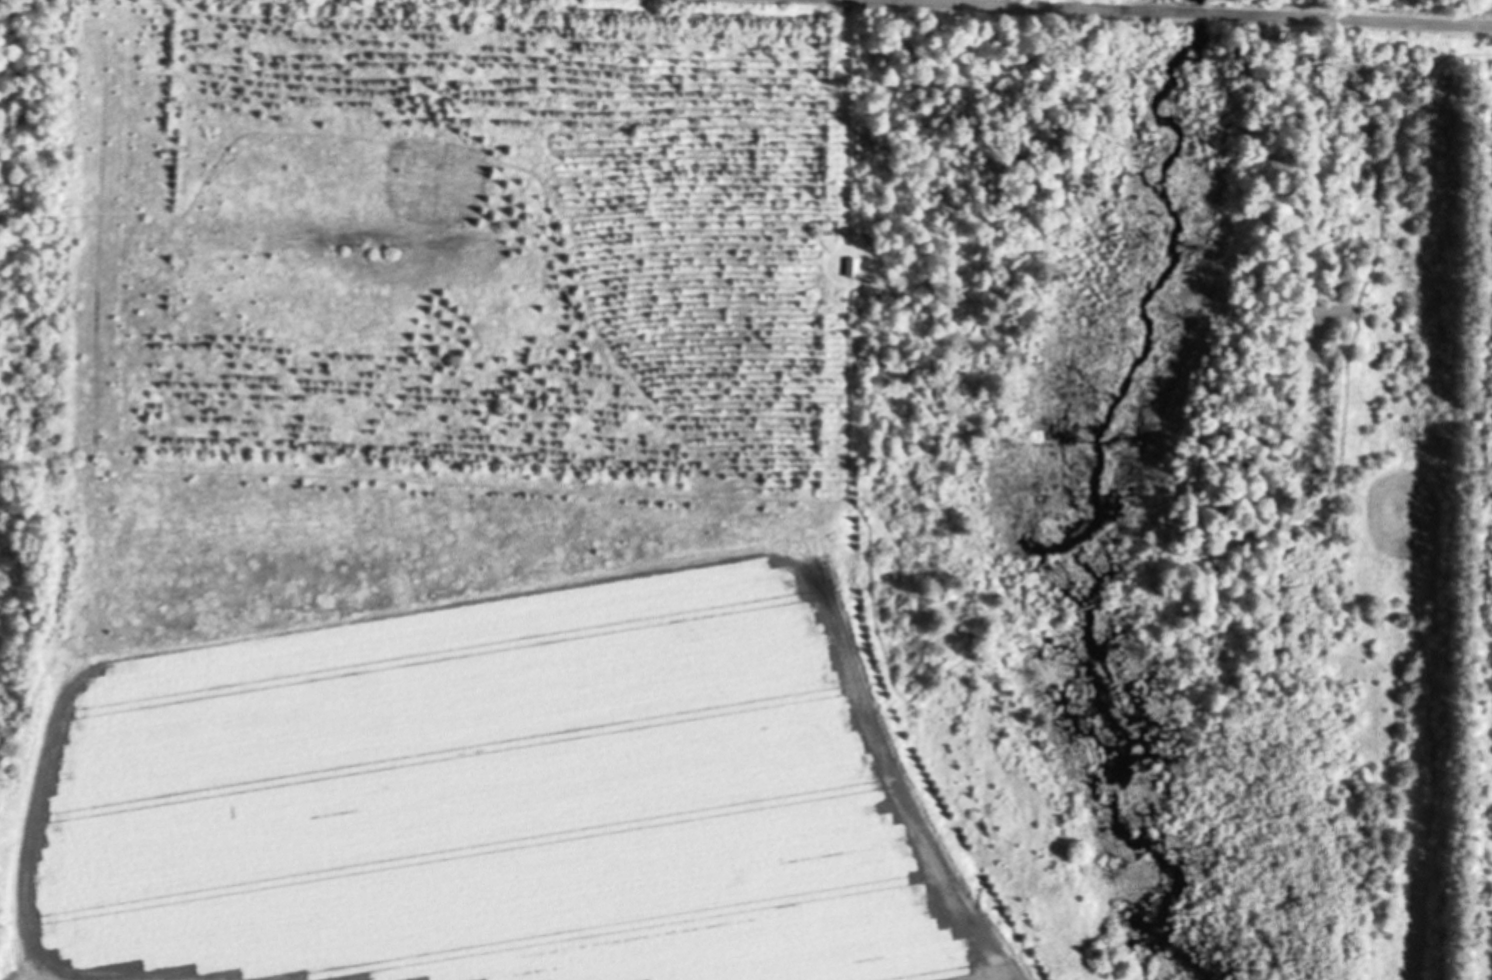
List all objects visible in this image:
road: (1236, 12)
building: (852, 267)

